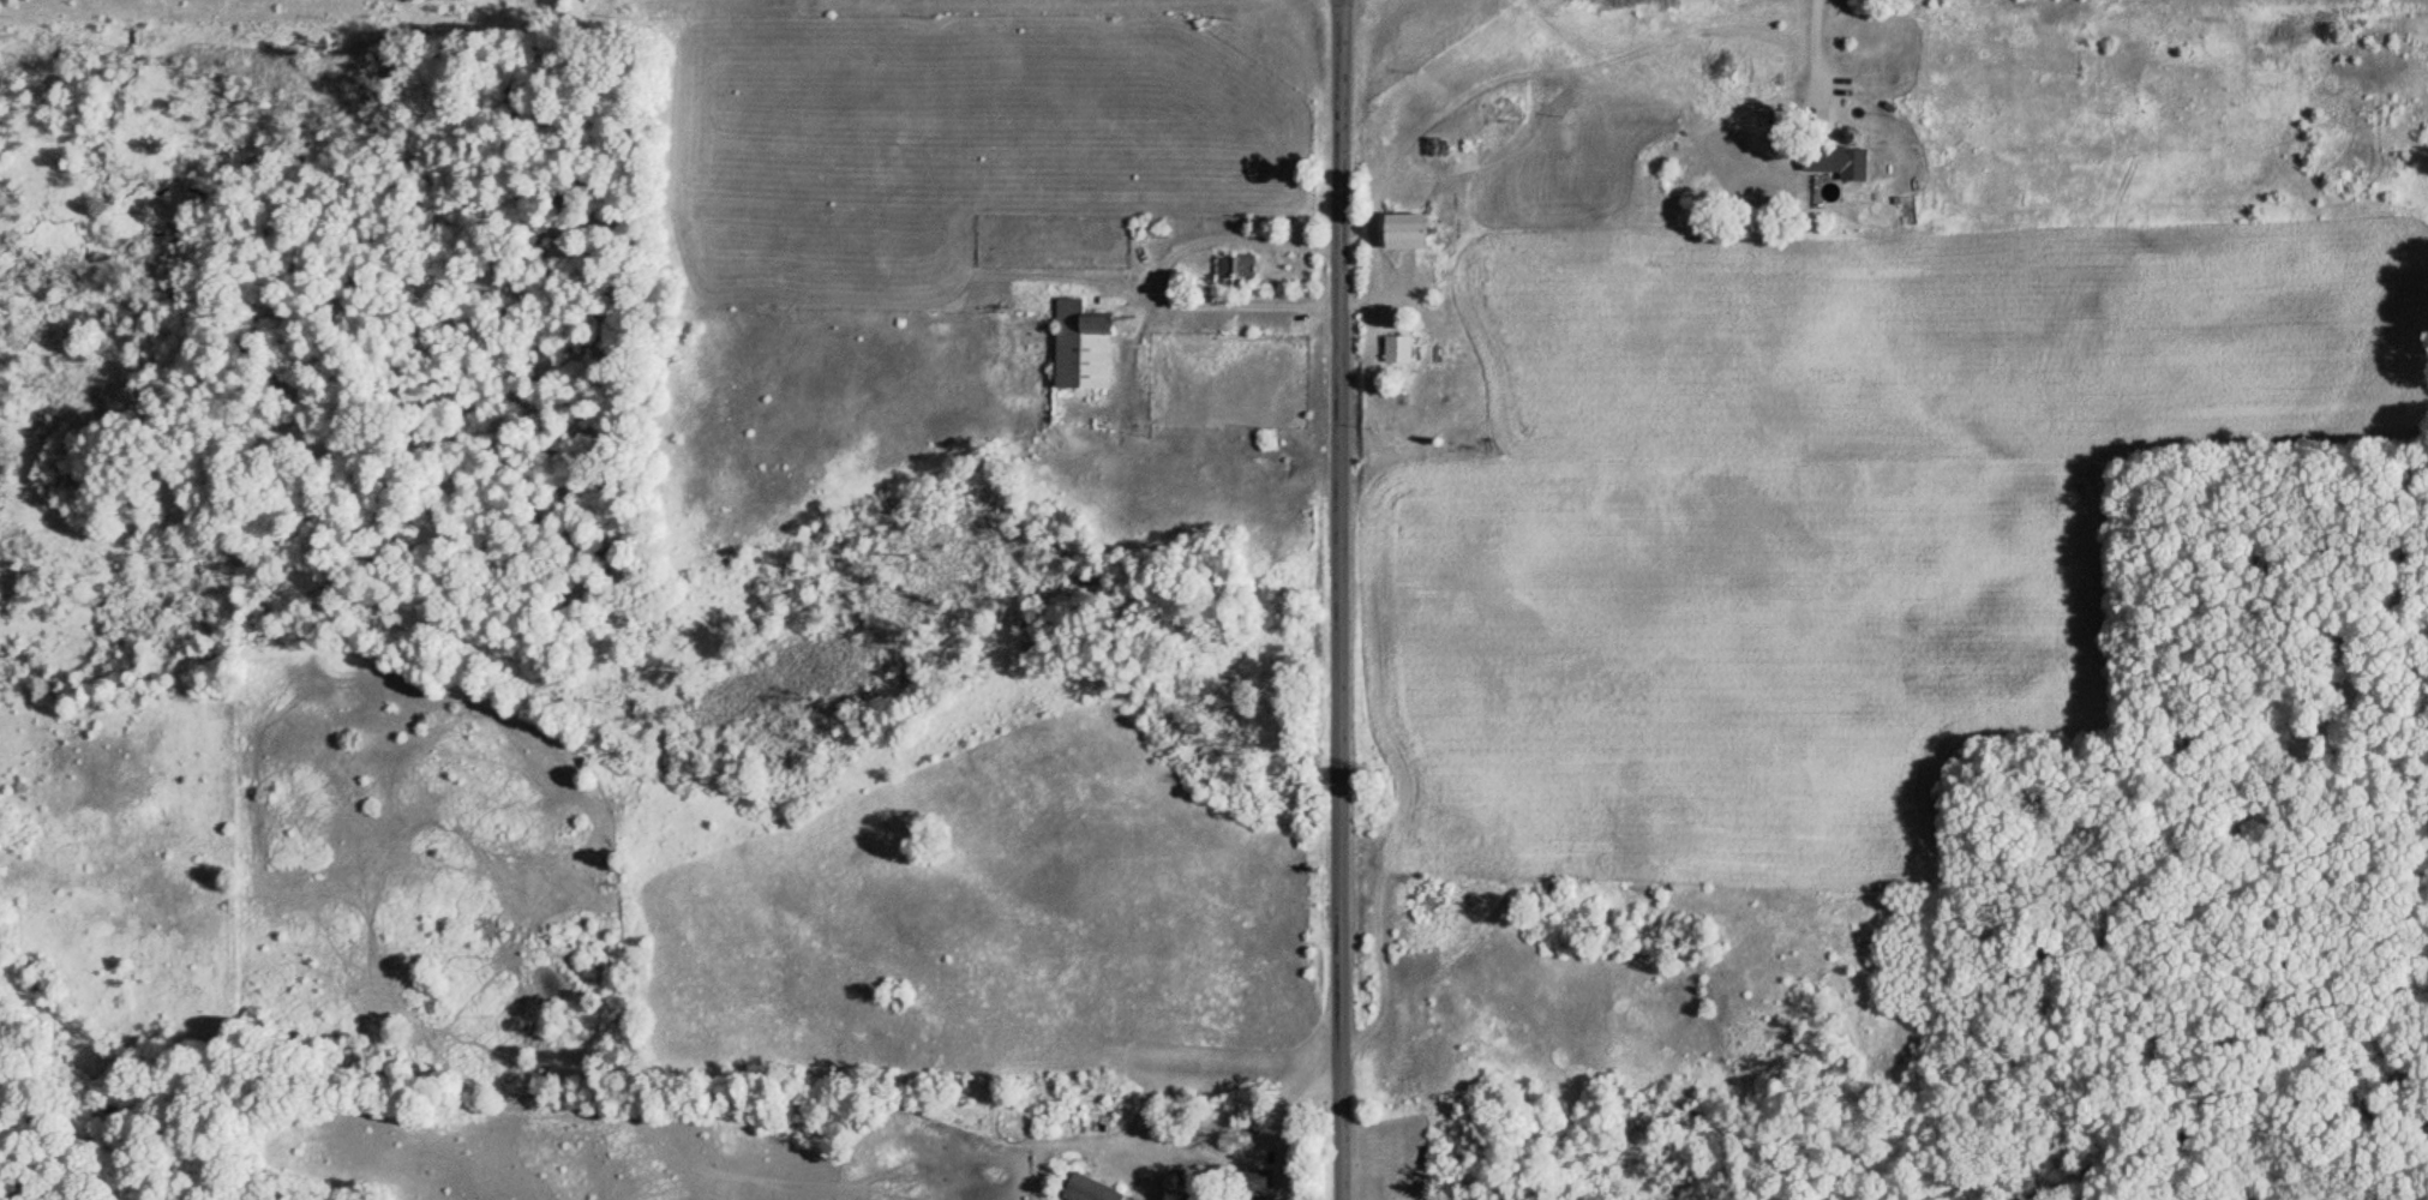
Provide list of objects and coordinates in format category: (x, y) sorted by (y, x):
road: (1816, 50)
building: (1832, 161)
building: (1399, 232)
building: (1231, 265)
road: (1157, 276)
building: (1075, 347)
building: (1393, 349)
road: (1337, 599)
building: (1249, 1184)
building: (1081, 1189)

